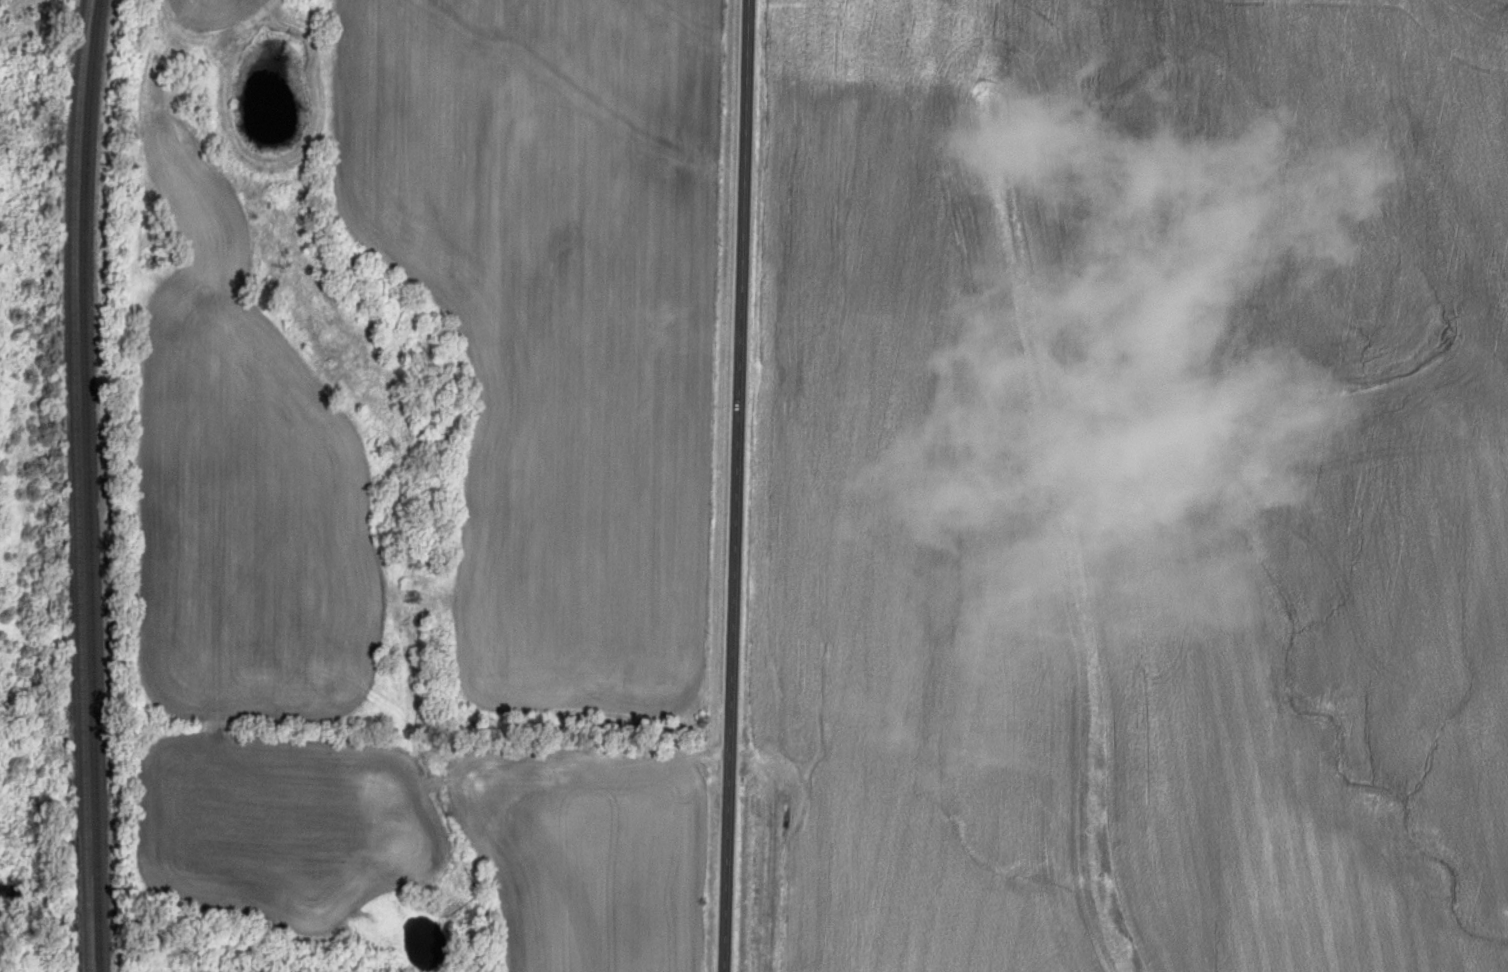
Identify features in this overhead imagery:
railway: (76, 485)
railway: (87, 485)
road: (742, 486)

